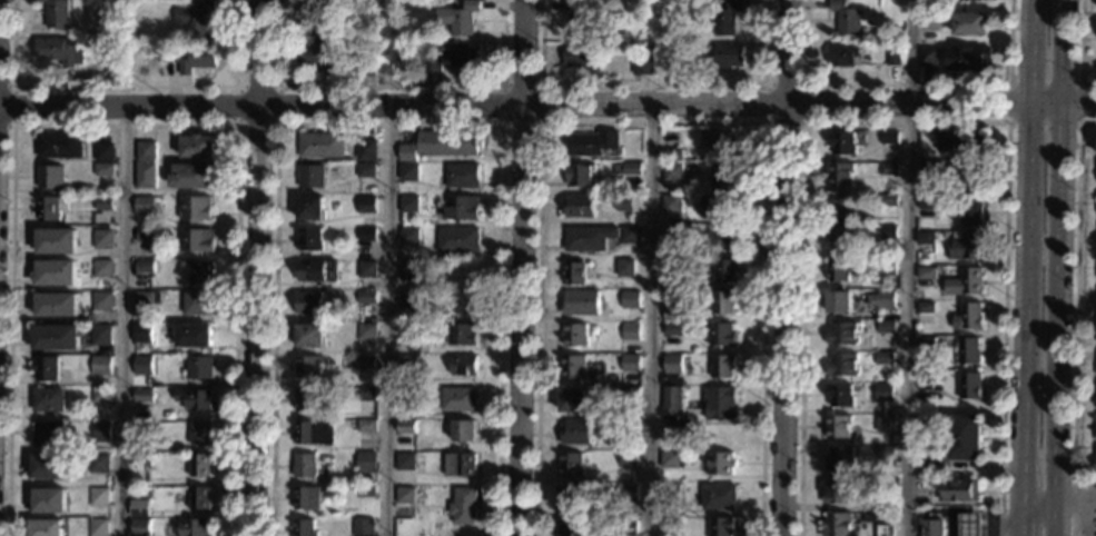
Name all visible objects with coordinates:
building: (959, 0)
building: (395, 8)
building: (57, 13)
building: (846, 17)
building: (195, 18)
building: (457, 18)
building: (581, 18)
building: (725, 18)
building: (318, 19)
building: (930, 21)
building: (970, 23)
road: (1079, 49)
building: (118, 50)
building: (59, 51)
building: (170, 52)
building: (465, 56)
building: (843, 56)
building: (892, 56)
building: (724, 57)
building: (928, 57)
building: (581, 58)
building: (967, 58)
building: (198, 59)
building: (317, 59)
building: (111, 62)
building: (431, 63)
building: (643, 63)
building: (365, 66)
road: (906, 83)
road: (1079, 83)
road: (388, 85)
road: (806, 85)
road: (125, 86)
road: (654, 86)
road: (547, 102)
road: (12, 105)
road: (907, 122)
road: (389, 123)
road: (541, 123)
road: (653, 123)
road: (125, 125)
road: (274, 125)
building: (888, 138)
building: (592, 142)
building: (842, 143)
building: (440, 145)
building: (724, 145)
building: (59, 146)
building: (320, 146)
building: (197, 147)
building: (947, 147)
building: (365, 150)
building: (146, 151)
building: (103, 152)
building: (925, 153)
building: (672, 155)
building: (629, 168)
building: (888, 168)
building: (102, 170)
building: (928, 170)
building: (366, 171)
building: (408, 172)
building: (672, 172)
building: (580, 175)
building: (841, 175)
building: (145, 176)
building: (191, 176)
building: (310, 176)
building: (724, 176)
building: (462, 177)
building: (970, 177)
building: (49, 178)
building: (888, 200)
building: (624, 202)
building: (927, 202)
building: (103, 205)
building: (144, 205)
building: (365, 205)
building: (408, 205)
building: (671, 205)
building: (580, 206)
building: (842, 206)
building: (51, 207)
building: (719, 207)
building: (461, 208)
building: (195, 209)
building: (309, 209)
building: (971, 211)
building: (887, 231)
building: (366, 235)
building: (629, 235)
building: (672, 235)
building: (145, 236)
building: (408, 236)
building: (722, 236)
building: (588, 238)
building: (842, 238)
building: (926, 238)
building: (102, 239)
building: (457, 239)
building: (196, 240)
building: (309, 240)
building: (56, 241)
building: (967, 245)
building: (887, 266)
building: (145, 267)
road: (258, 267)
road: (521, 267)
road: (783, 267)
road: (907, 267)
road: (1020, 267)
building: (625, 268)
building: (671, 268)
road: (1053, 268)
building: (102, 269)
building: (366, 269)
building: (413, 269)
building: (838, 270)
building: (317, 271)
building: (724, 271)
building: (56, 272)
building: (199, 272)
building: (926, 272)
building: (574, 274)
building: (966, 284)
building: (366, 297)
building: (147, 298)
building: (630, 299)
building: (407, 300)
building: (882, 300)
building: (101, 302)
building: (723, 302)
building: (839, 302)
building: (197, 304)
building: (309, 304)
building: (580, 304)
building: (57, 305)
building: (926, 307)
building: (671, 312)
building: (968, 317)
road: (648, 318)
road: (387, 319)
road: (1075, 320)
road: (121, 321)
building: (886, 326)
building: (672, 330)
building: (366, 331)
building: (408, 331)
building: (630, 331)
building: (142, 334)
building: (842, 334)
building: (574, 335)
building: (721, 335)
building: (100, 336)
building: (192, 336)
building: (309, 336)
building: (461, 336)
building: (56, 337)
building: (926, 343)
building: (969, 350)
building: (883, 358)
building: (356, 363)
building: (630, 363)
building: (406, 364)
building: (100, 365)
building: (142, 365)
building: (463, 365)
building: (671, 365)
building: (722, 366)
building: (842, 366)
building: (307, 367)
building: (572, 367)
building: (199, 368)
building: (46, 369)
building: (927, 377)
building: (969, 386)
building: (883, 393)
building: (364, 394)
building: (629, 395)
building: (101, 396)
building: (142, 396)
building: (839, 396)
building: (670, 398)
building: (194, 399)
building: (306, 399)
building: (457, 399)
building: (48, 400)
building: (405, 400)
building: (572, 400)
building: (719, 404)
building: (883, 423)
building: (365, 426)
building: (629, 426)
building: (405, 427)
building: (838, 427)
building: (463, 430)
building: (101, 431)
building: (47, 433)
building: (314, 433)
building: (574, 433)
building: (200, 434)
building: (1095, 435)
building: (141, 437)
building: (964, 437)
building: (883, 451)
building: (628, 458)
building: (839, 458)
building: (669, 459)
building: (142, 461)
building: (404, 461)
building: (365, 463)
building: (99, 464)
building: (720, 464)
building: (458, 465)
building: (571, 465)
building: (1095, 465)
building: (199, 466)
building: (304, 466)
building: (47, 467)
building: (364, 490)
building: (958, 490)
building: (837, 492)
building: (628, 494)
building: (669, 494)
building: (403, 495)
building: (98, 497)
building: (570, 497)
building: (718, 497)
building: (199, 498)
building: (307, 498)
building: (50, 500)
building: (883, 503)
building: (462, 506)
building: (139, 507)
building: (669, 523)
building: (974, 524)
gas station: (974, 524)
building: (836, 525)
building: (721, 526)
building: (98, 527)
building: (140, 527)
building: (194, 527)
building: (304, 527)
building: (362, 527)
building: (569, 527)
building: (626, 527)
building: (932, 527)
building: (46, 528)
building: (883, 530)

